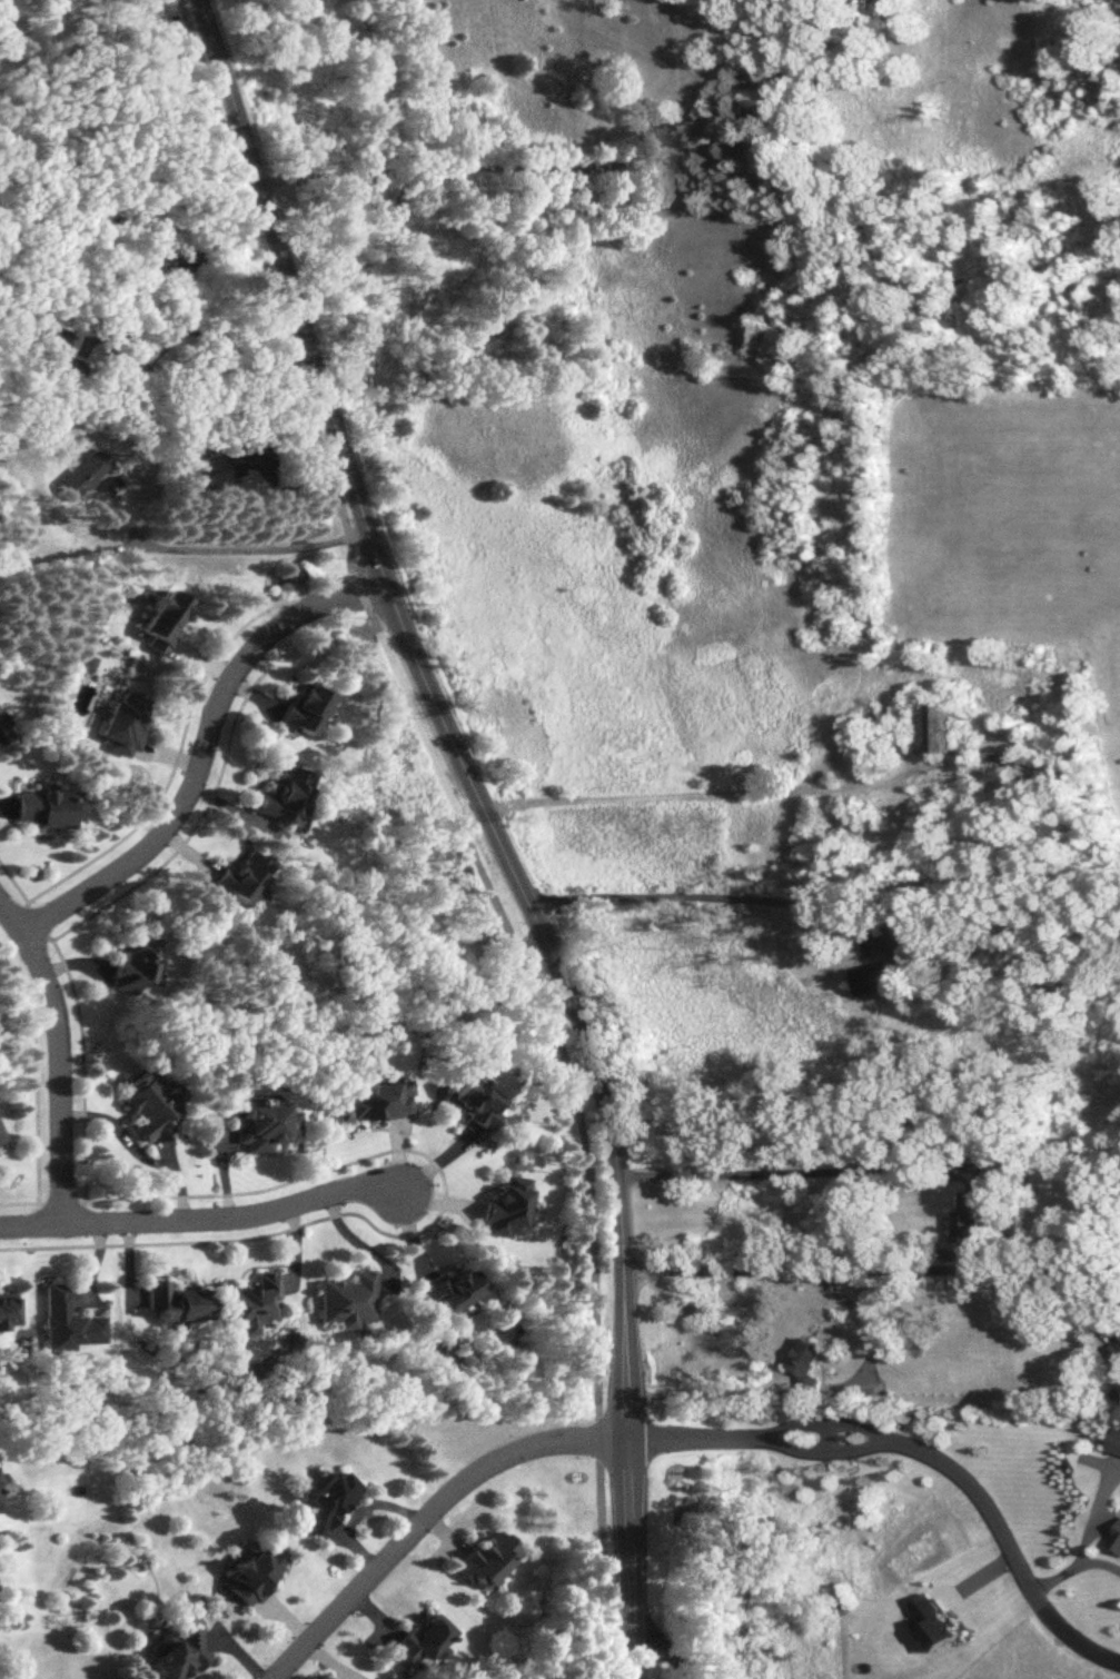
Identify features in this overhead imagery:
building: (866, 10)
building: (777, 47)
building: (839, 52)
road: (543, 162)
building: (774, 162)
building: (177, 261)
road: (278, 308)
road: (205, 331)
building: (54, 349)
building: (215, 470)
building: (85, 474)
road: (224, 544)
building: (165, 623)
building: (80, 665)
building: (304, 709)
building: (122, 723)
road: (419, 727)
building: (943, 727)
building: (1, 736)
building: (861, 743)
road: (199, 745)
building: (1003, 765)
road: (703, 793)
building: (285, 794)
building: (46, 809)
road: (490, 825)
building: (240, 877)
road: (685, 896)
building: (900, 960)
building: (132, 962)
building: (871, 977)
road: (59, 1051)
building: (378, 1100)
building: (472, 1101)
building: (148, 1104)
building: (264, 1126)
building: (0, 1140)
road: (781, 1172)
building: (506, 1208)
building: (970, 1216)
road: (202, 1218)
road: (589, 1246)
road: (832, 1273)
road: (1081, 1273)
building: (450, 1290)
building: (349, 1300)
building: (175, 1302)
building: (251, 1303)
building: (8, 1312)
building: (68, 1322)
road: (865, 1329)
building: (1114, 1355)
building: (807, 1365)
building: (1116, 1442)
road: (916, 1445)
building: (1, 1482)
building: (327, 1501)
building: (0, 1507)
road: (424, 1519)
road: (1087, 1537)
building: (1117, 1542)
road: (1101, 1558)
building: (487, 1559)
building: (254, 1573)
building: (420, 1643)
road: (661, 1651)
building: (178, 1656)

